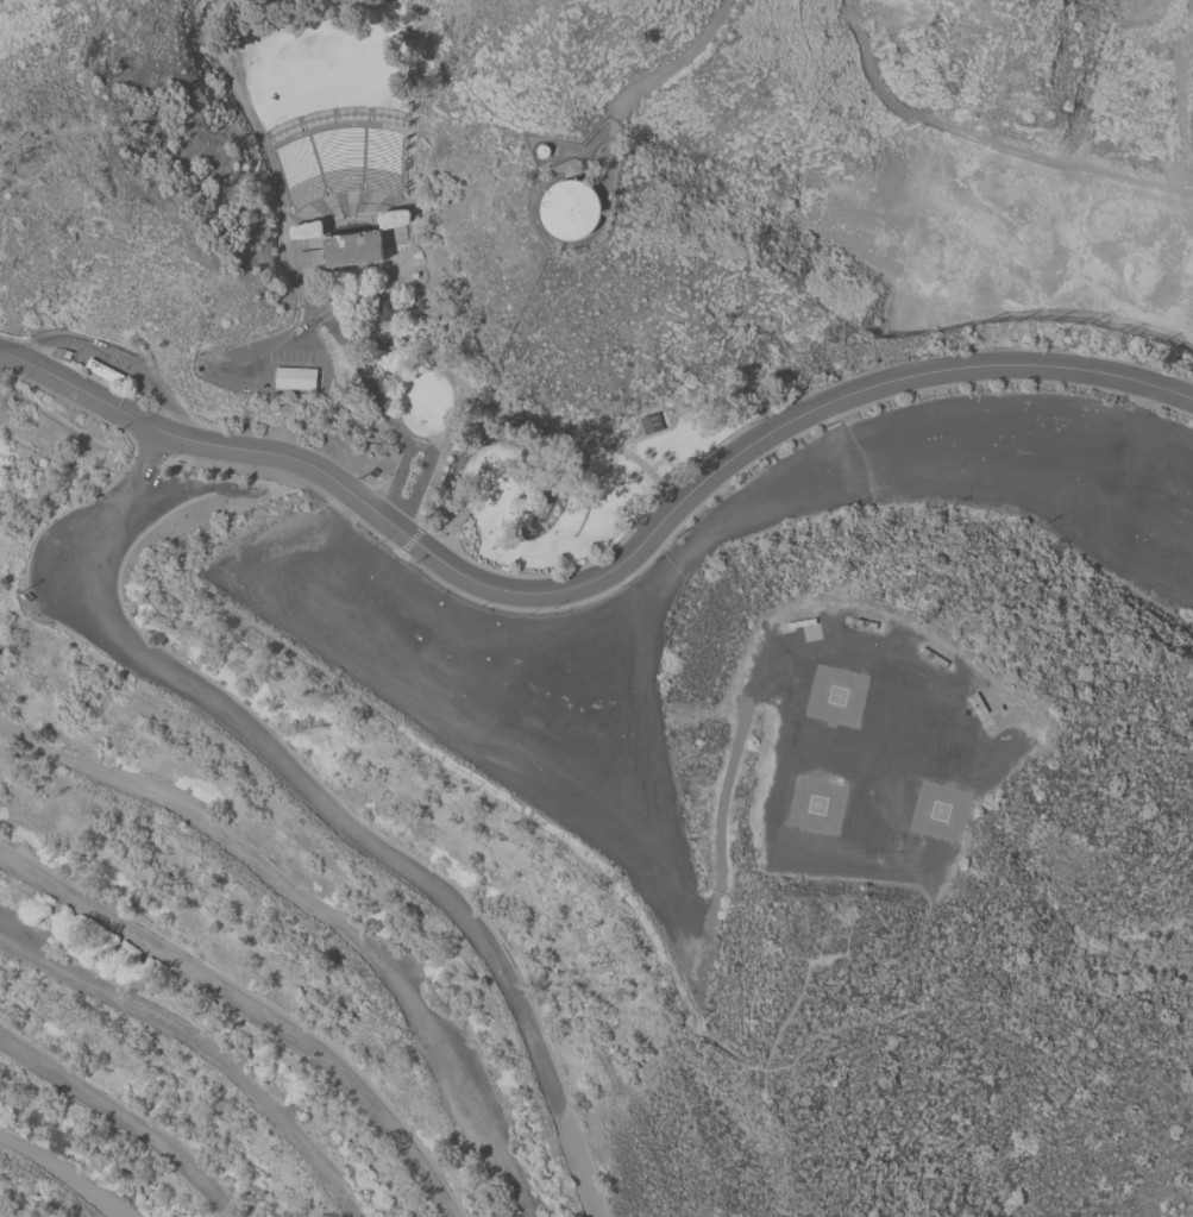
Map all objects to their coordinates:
road: (673, 64)
road: (335, 126)
road: (981, 146)
building: (544, 148)
storage tank: (544, 148)
road: (401, 168)
road: (362, 195)
road: (329, 199)
road: (341, 201)
building: (571, 206)
storage tank: (571, 206)
road: (287, 213)
road: (413, 232)
building: (344, 250)
road: (291, 258)
building: (385, 307)
road: (107, 350)
parking lot: (291, 356)
building: (103, 371)
building: (296, 377)
road: (82, 388)
road: (375, 399)
park: (438, 419)
road: (1139, 419)
building: (649, 422)
road: (840, 427)
road: (413, 476)
road: (666, 519)
building: (850, 620)
building: (802, 621)
building: (866, 621)
road: (869, 655)
building: (936, 657)
helipad: (836, 694)
building: (981, 708)
parking lot: (572, 763)
helipad: (816, 804)
road: (720, 810)
helipad: (938, 810)
road: (331, 811)
road: (322, 909)
road: (251, 1011)
road: (121, 1117)
road: (62, 1173)

